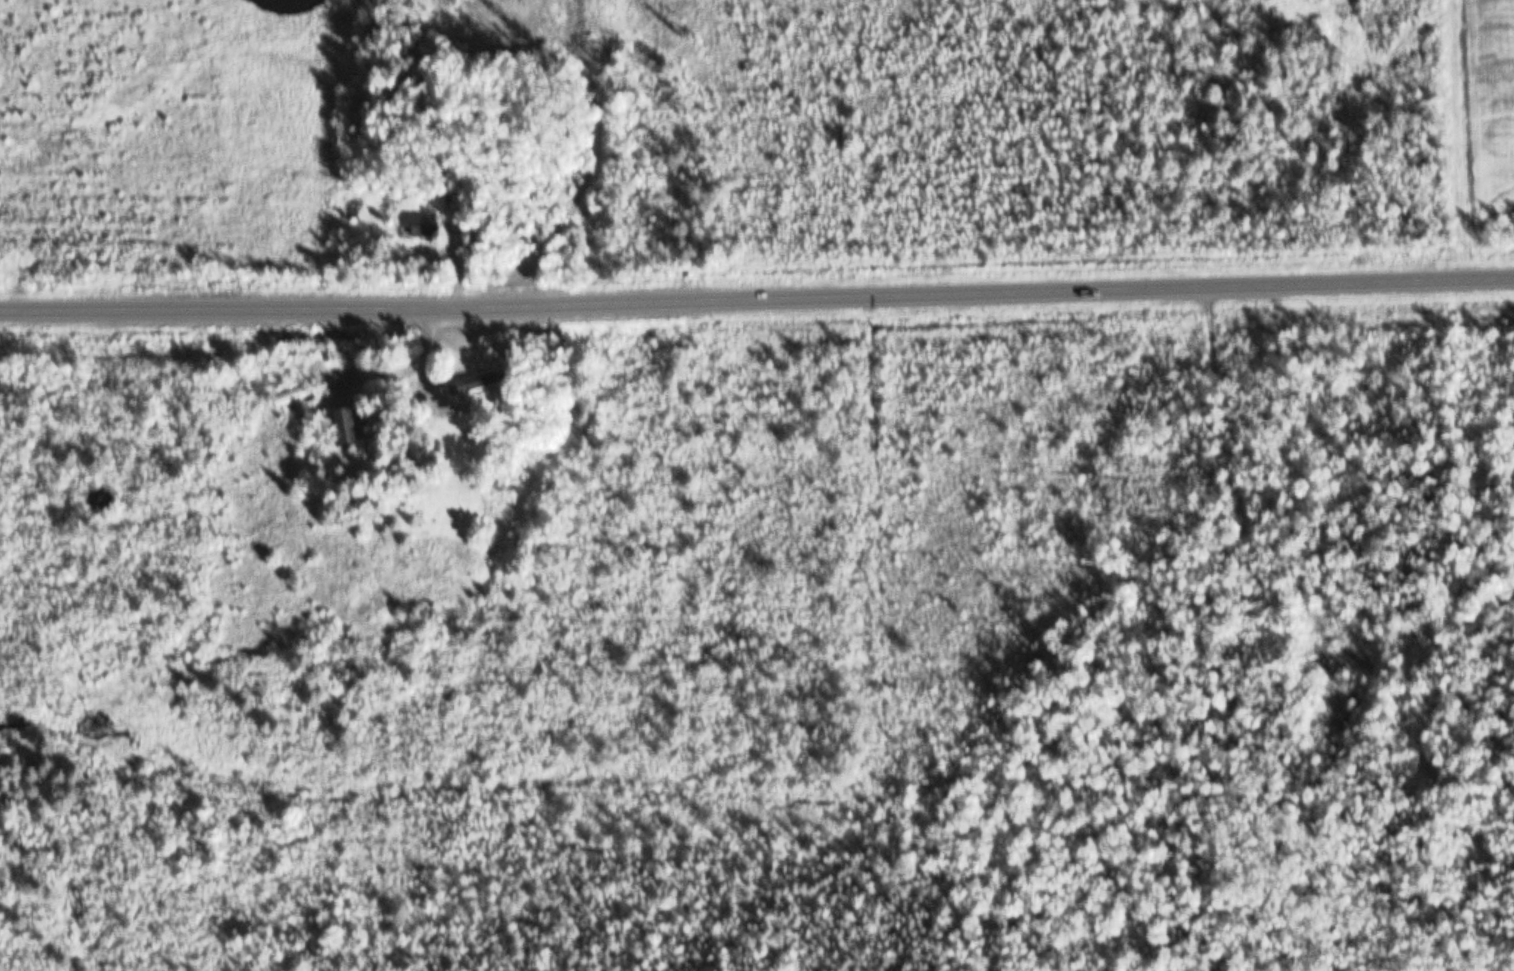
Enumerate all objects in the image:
building: (533, 27)
building: (419, 230)
road: (757, 295)
building: (466, 386)
building: (291, 400)
building: (336, 428)

